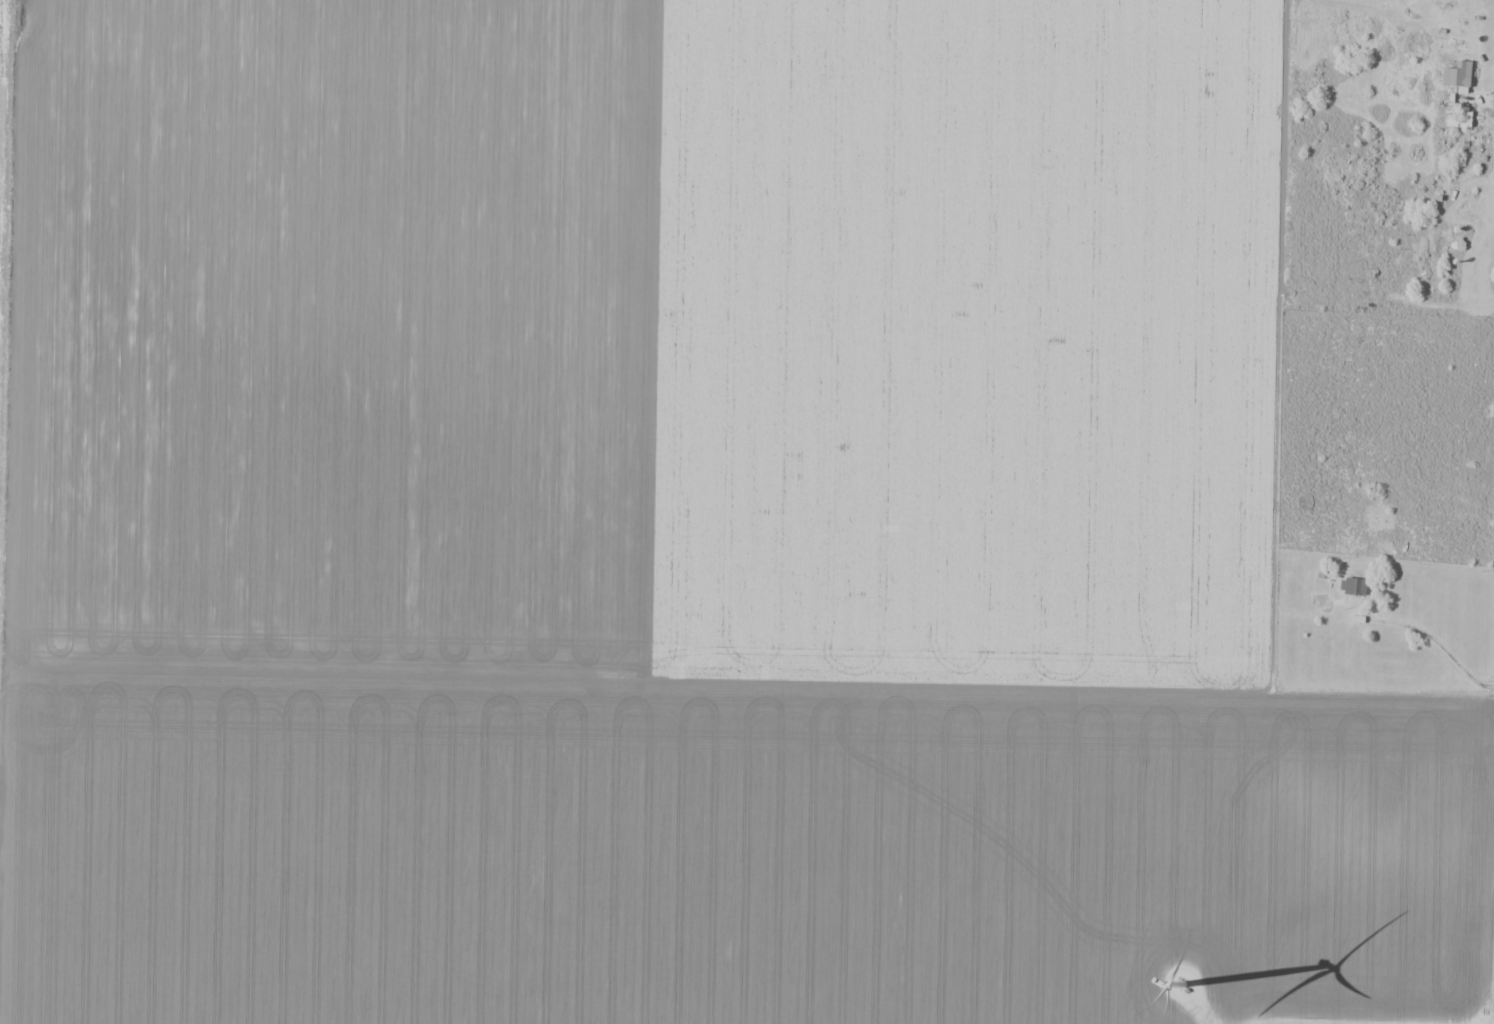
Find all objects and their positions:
building: (1444, 143)
wind turbine: (1174, 983)

